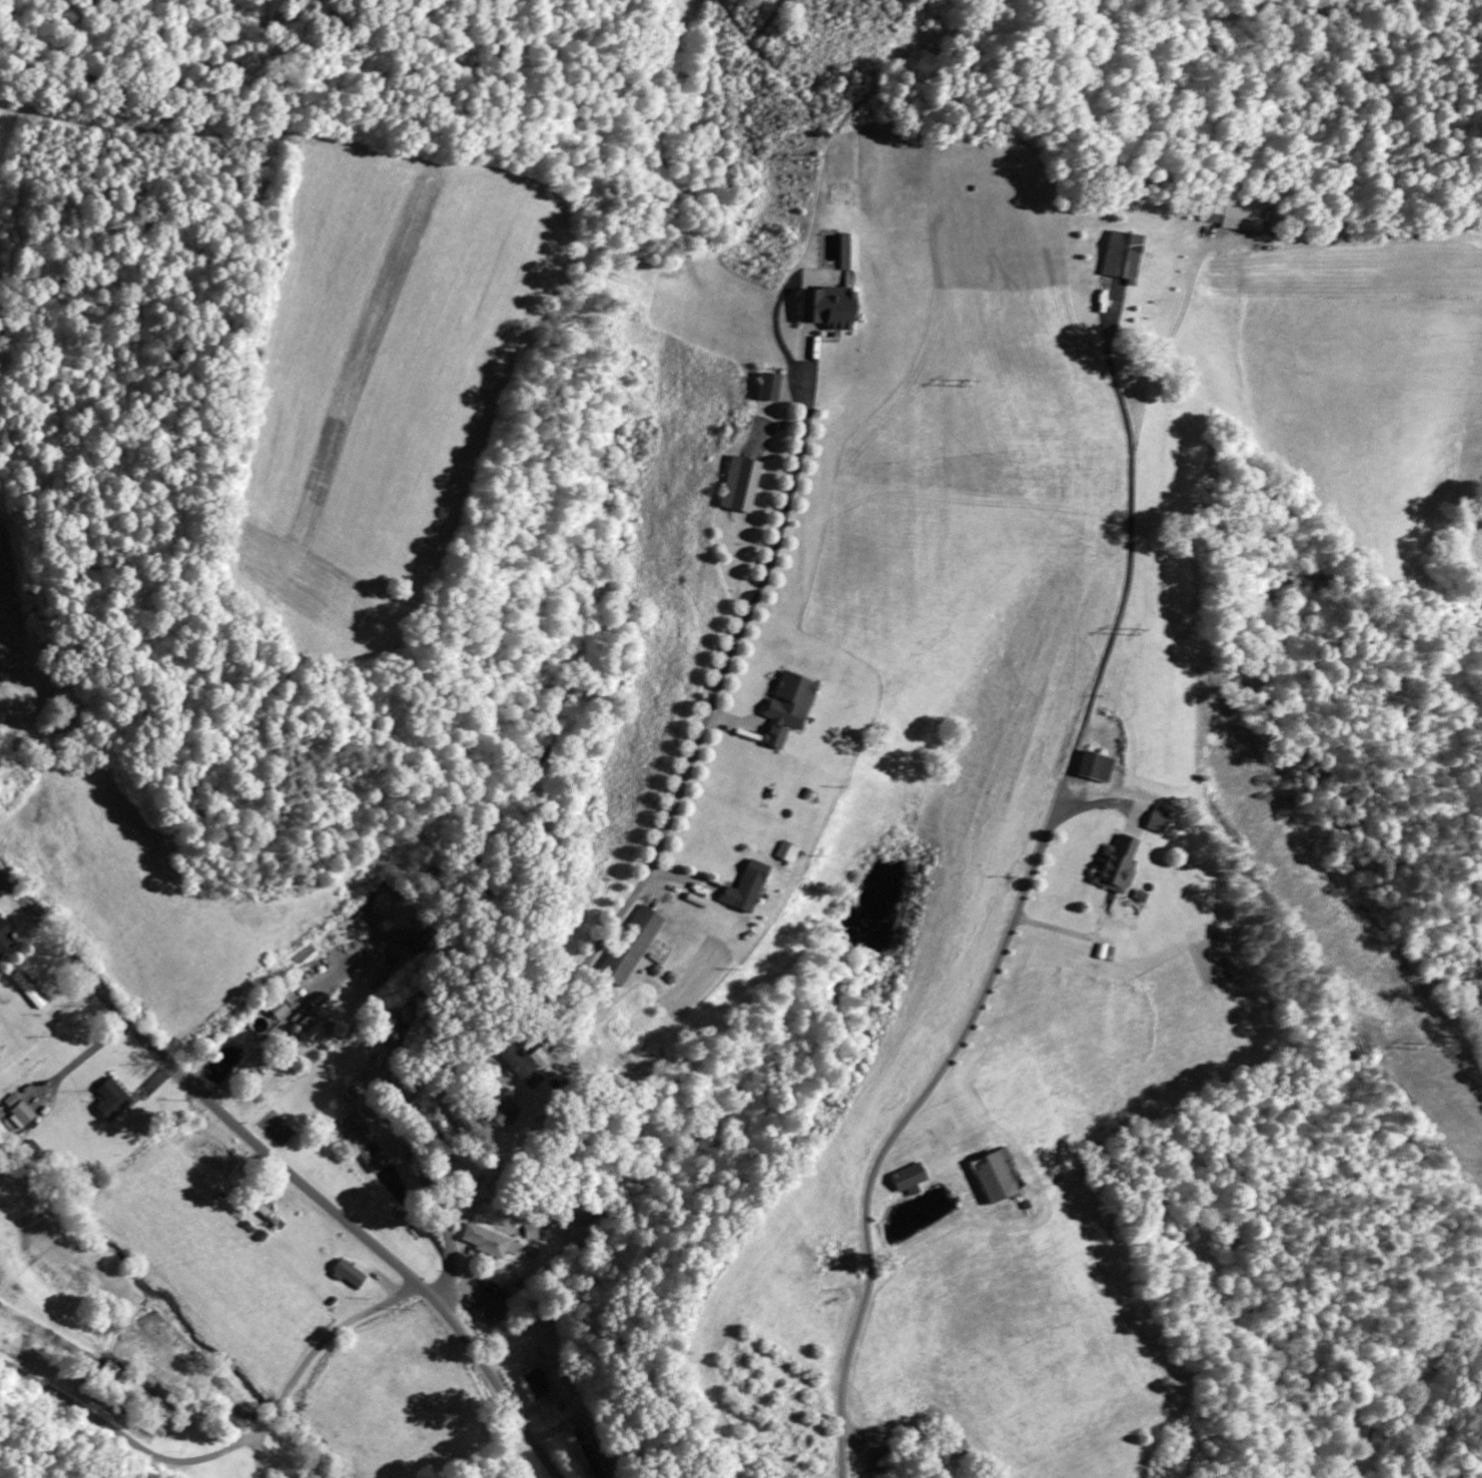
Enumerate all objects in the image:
building: (1231, 221)
building: (848, 251)
building: (1122, 259)
building: (827, 308)
building: (768, 385)
building: (740, 483)
building: (787, 706)
building: (1096, 769)
building: (1158, 821)
building: (1117, 868)
building: (742, 892)
building: (5, 935)
building: (631, 945)
building: (374, 970)
building: (29, 989)
building: (277, 1008)
building: (308, 1024)
building: (527, 1065)
building: (112, 1100)
building: (18, 1109)
building: (501, 1112)
road: (410, 1136)
building: (365, 1141)
road: (286, 1170)
building: (997, 1174)
building: (909, 1176)
building: (489, 1241)
building: (349, 1273)
building: (536, 1384)
building: (136, 1395)
road: (840, 1449)

